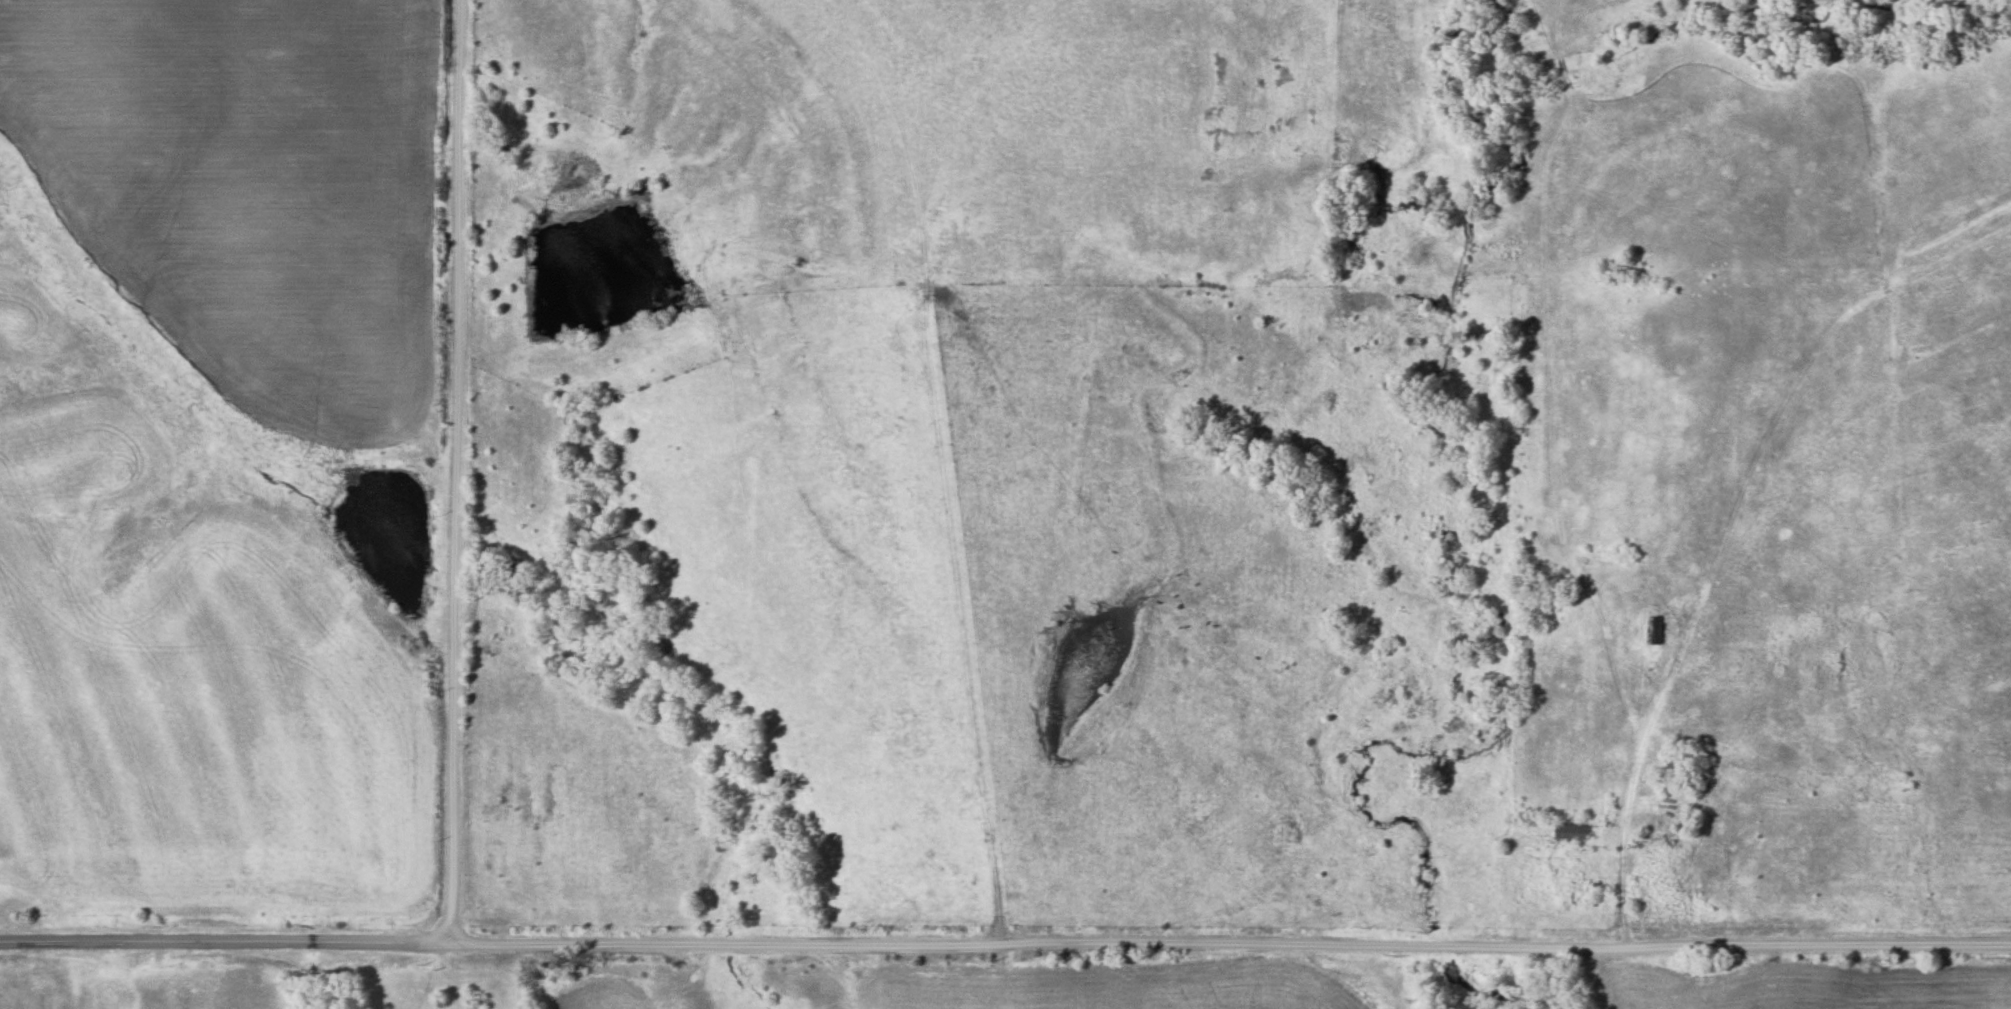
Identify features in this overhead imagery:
road: (459, 471)
building: (1650, 629)
building: (1557, 830)
road: (227, 940)
road: (1232, 944)

